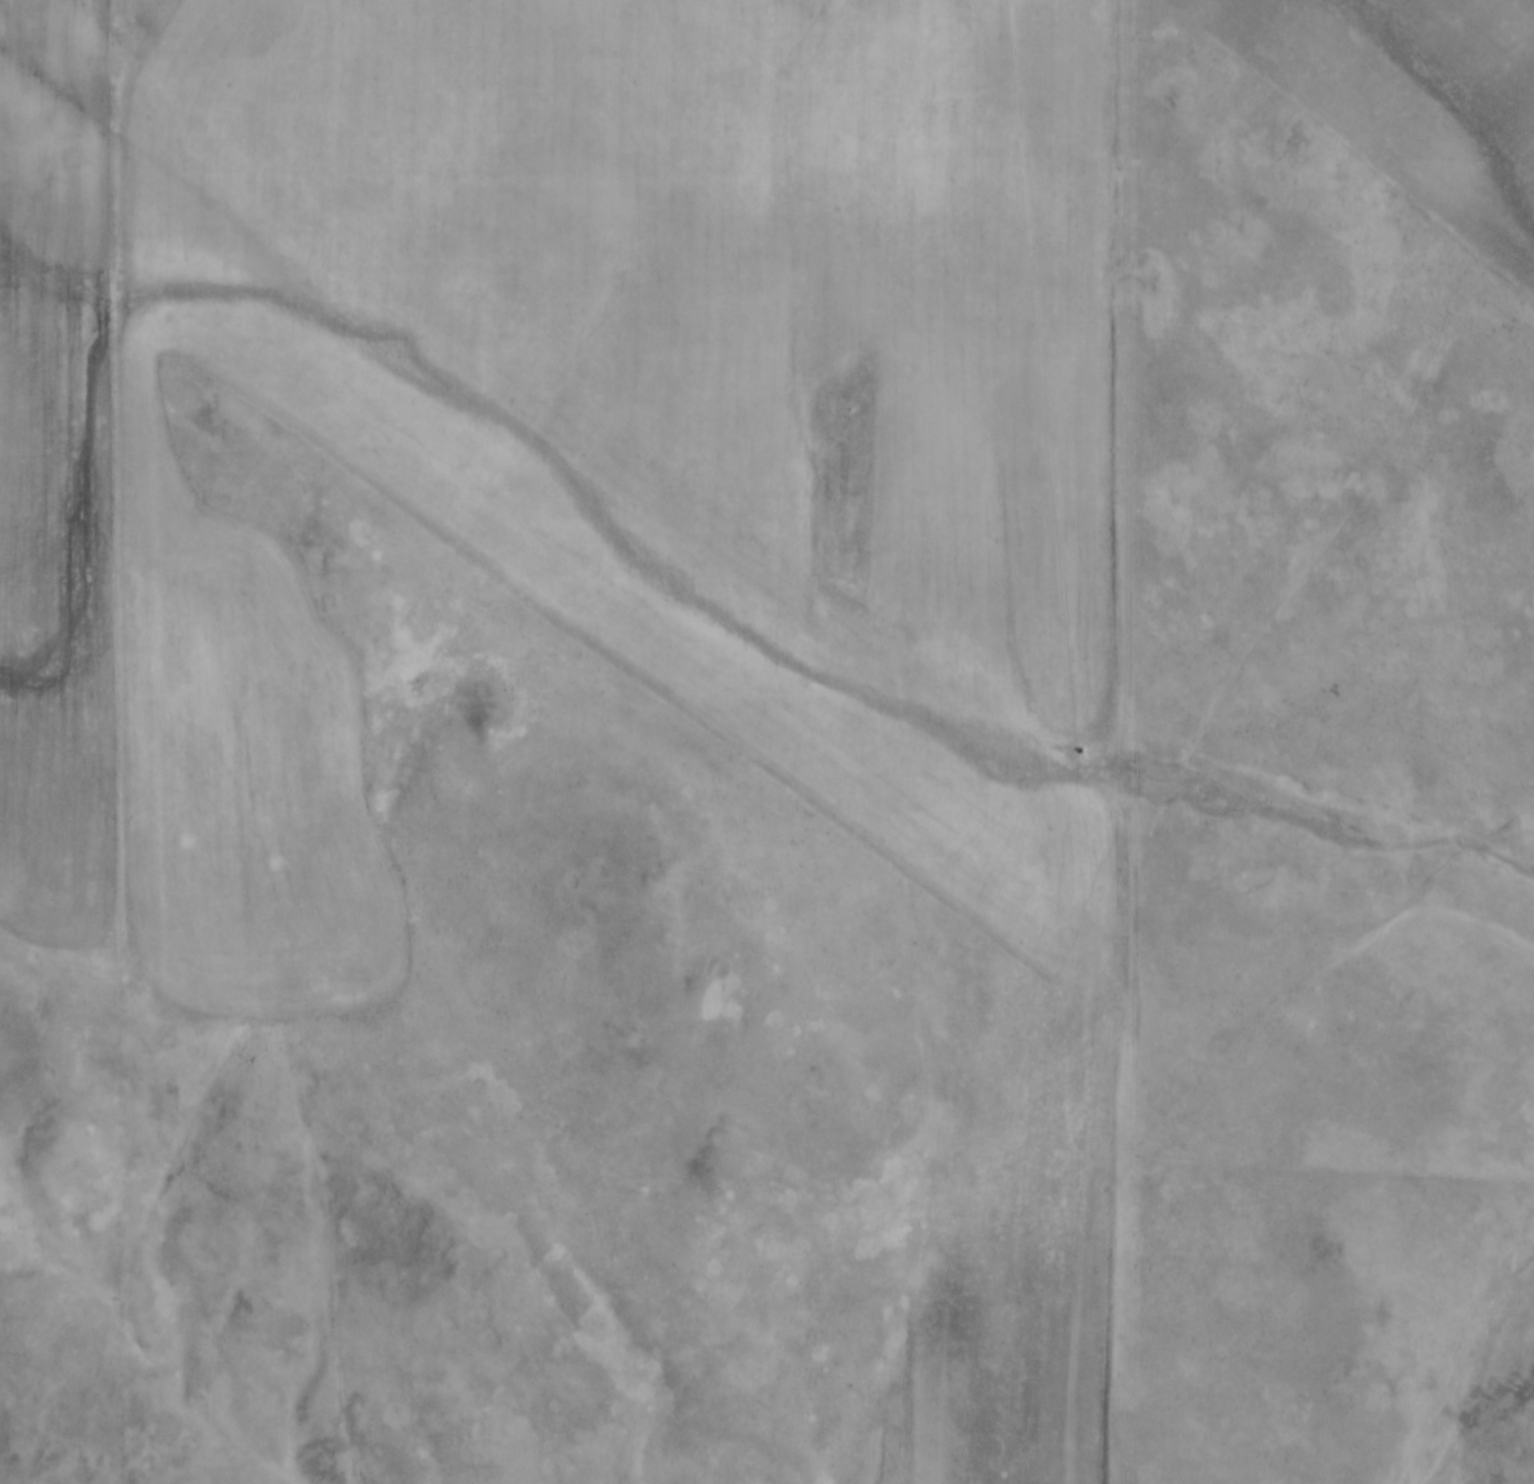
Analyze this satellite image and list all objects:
road: (1125, 743)

